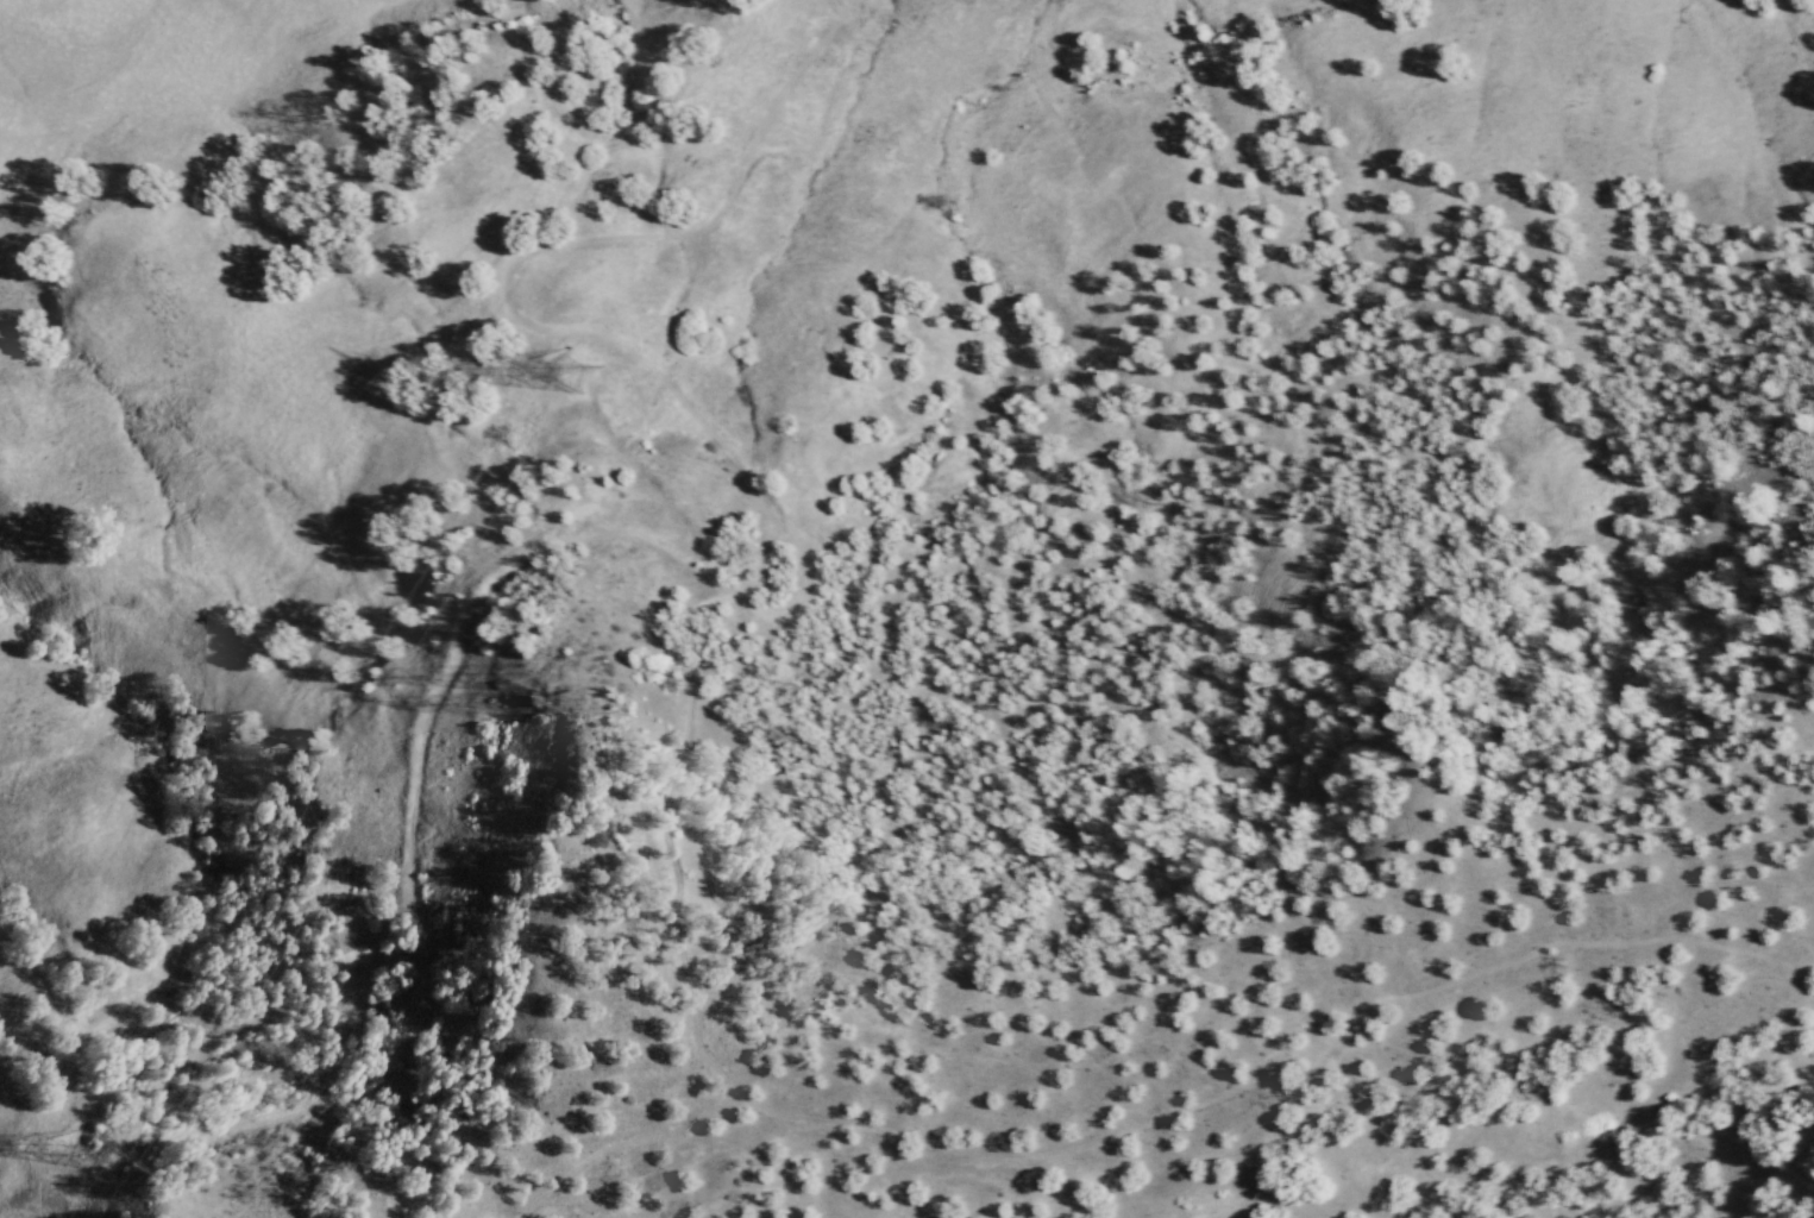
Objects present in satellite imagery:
power tower: (573, 379)
power tower: (540, 682)
power tower: (577, 710)
power tower: (82, 1169)

